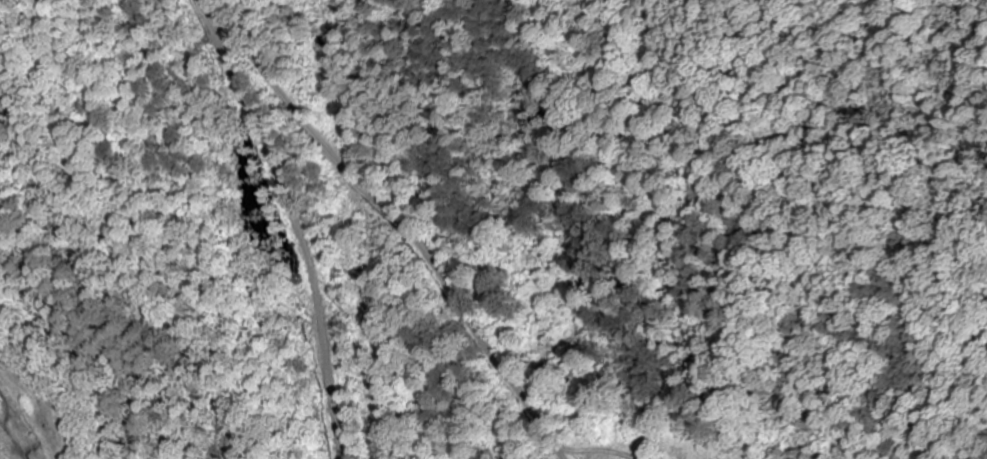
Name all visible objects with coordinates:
road: (398, 220)

